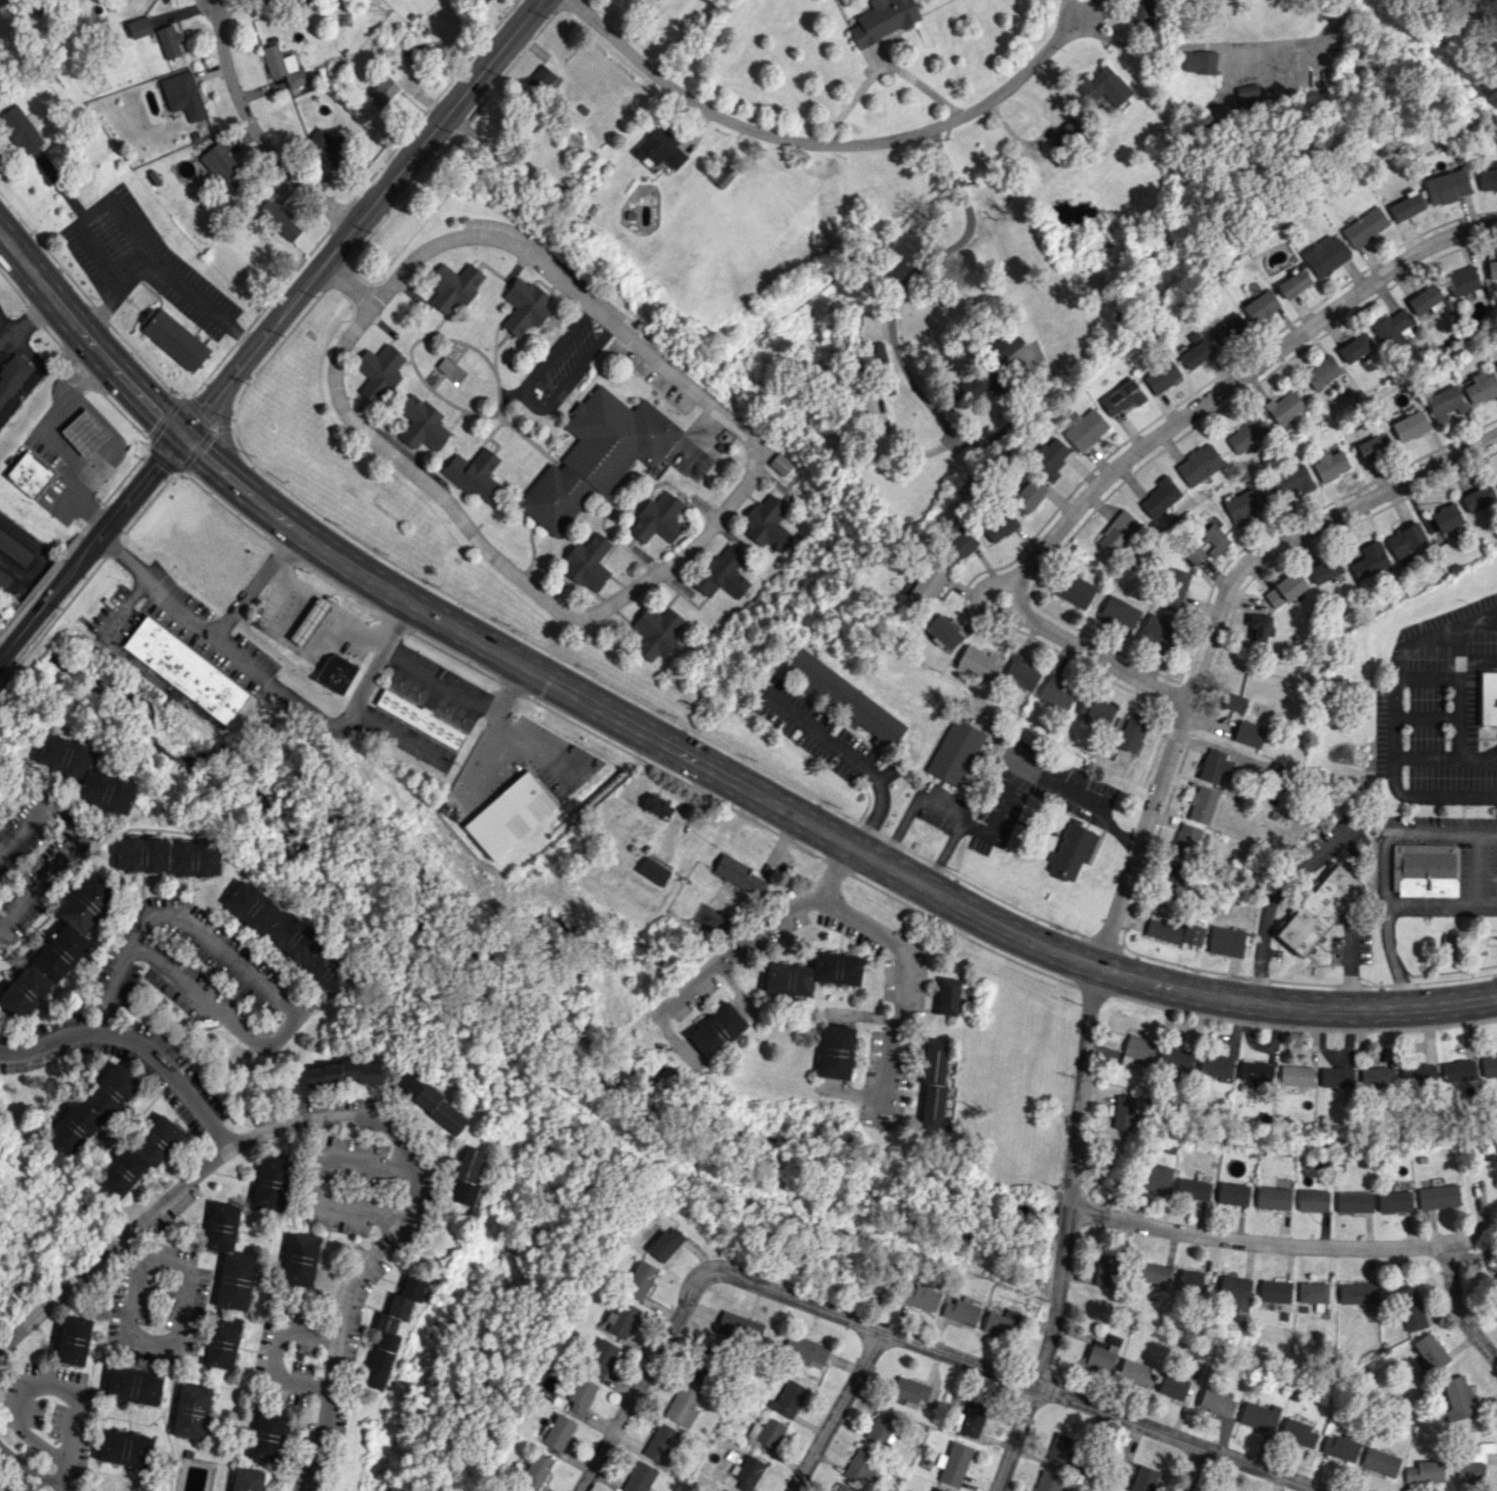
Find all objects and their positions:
building: (487, 0)
building: (302, 1)
building: (1141, 13)
building: (882, 20)
building: (138, 27)
building: (168, 41)
road: (1147, 49)
building: (412, 50)
building: (1199, 62)
building: (282, 66)
road: (880, 69)
building: (545, 82)
building: (1102, 86)
building: (384, 89)
building: (1247, 93)
building: (183, 94)
road: (261, 128)
building: (20, 129)
building: (1065, 135)
building: (326, 144)
road: (823, 145)
building: (659, 148)
road: (942, 154)
building: (221, 164)
building: (719, 172)
building: (1487, 179)
road: (956, 183)
building: (1446, 186)
road: (61, 187)
building: (1406, 207)
road: (91, 213)
road: (361, 217)
building: (277, 221)
building: (1364, 227)
building: (1325, 255)
road: (166, 268)
building: (1492, 269)
road: (350, 278)
building: (1462, 281)
building: (1293, 283)
building: (453, 287)
building: (1428, 299)
building: (524, 306)
building: (1260, 306)
building: (866, 318)
building: (1227, 328)
building: (1394, 328)
building: (172, 337)
road: (88, 343)
road: (557, 346)
building: (1002, 346)
building: (1355, 347)
building: (1194, 353)
road: (67, 360)
building: (1496, 362)
road: (580, 366)
road: (902, 367)
building: (378, 371)
building: (1322, 372)
building: (12, 376)
building: (1160, 376)
building: (981, 382)
road: (90, 383)
building: (1480, 387)
building: (1121, 398)
road: (530, 403)
building: (1445, 403)
building: (1284, 407)
road: (48, 416)
building: (421, 424)
building: (1409, 425)
building: (1085, 429)
building: (84, 432)
building: (1245, 434)
road: (1153, 442)
building: (1372, 446)
building: (596, 455)
building: (1048, 457)
building: (780, 464)
building: (1197, 464)
building: (1329, 464)
building: (473, 473)
building: (28, 474)
building: (1290, 481)
building: (1496, 481)
building: (1028, 495)
building: (1158, 498)
building: (1478, 498)
building: (1244, 505)
building: (1446, 517)
building: (657, 518)
building: (767, 524)
building: (998, 526)
building: (1117, 532)
road: (699, 534)
building: (1213, 539)
building: (1405, 542)
building: (958, 545)
road: (93, 546)
building: (14, 549)
building: (1194, 554)
building: (1369, 560)
building: (587, 562)
building: (1325, 570)
building: (722, 572)
building: (4, 580)
building: (925, 583)
building: (1176, 585)
building: (1284, 589)
building: (1074, 590)
building: (1118, 614)
road: (1476, 618)
building: (309, 621)
building: (1260, 626)
road: (206, 628)
building: (1157, 630)
building: (943, 631)
building: (656, 632)
road: (318, 650)
road: (1396, 657)
building: (978, 662)
road: (1477, 662)
road: (1457, 663)
building: (185, 670)
building: (335, 673)
building: (1019, 673)
building: (1056, 692)
road: (280, 693)
road: (462, 696)
building: (845, 697)
building: (1488, 698)
building: (1235, 702)
building: (1096, 709)
road: (367, 715)
building: (420, 719)
building: (1131, 732)
building: (1249, 733)
road: (533, 746)
building: (955, 752)
road: (1405, 756)
road: (851, 757)
road: (478, 758)
building: (1213, 768)
building: (84, 772)
road: (1428, 797)
road: (999, 802)
building: (1202, 804)
building: (656, 806)
road: (40, 810)
building: (510, 814)
road: (803, 821)
building: (1187, 843)
road: (941, 852)
building: (1071, 852)
building: (167, 857)
road: (1382, 865)
building: (652, 870)
building: (1423, 870)
building: (737, 874)
building: (1172, 881)
road: (42, 883)
road: (1123, 883)
road: (1272, 895)
road: (1426, 901)
road: (1483, 901)
building: (1318, 909)
building: (1174, 932)
building: (289, 938)
building: (1226, 941)
building: (58, 948)
road: (736, 949)
road: (896, 963)
road: (1348, 966)
building: (812, 974)
road: (260, 983)
building: (947, 996)
building: (717, 1030)
road: (136, 1043)
building: (1138, 1048)
building: (835, 1051)
building: (1175, 1058)
building: (1215, 1065)
building: (1488, 1066)
building: (1453, 1070)
building: (1255, 1071)
building: (344, 1072)
building: (1417, 1074)
building: (1295, 1075)
building: (1376, 1076)
building: (1336, 1077)
building: (933, 1084)
building: (430, 1102)
building: (91, 1109)
building: (1122, 1112)
building: (139, 1156)
road: (324, 1176)
building: (466, 1176)
building: (1155, 1178)
building: (270, 1183)
building: (1192, 1189)
road: (174, 1191)
building: (1232, 1193)
building: (1437, 1196)
building: (1273, 1197)
building: (1312, 1200)
building: (1394, 1201)
building: (1353, 1202)
building: (665, 1243)
road: (1268, 1243)
building: (228, 1257)
building: (299, 1258)
building: (1104, 1270)
building: (1152, 1272)
building: (639, 1279)
building: (1495, 1280)
building: (1192, 1281)
building: (1274, 1291)
building: (1236, 1292)
building: (1312, 1292)
building: (1357, 1292)
road: (347, 1297)
building: (405, 1297)
building: (920, 1297)
building: (1409, 1308)
road: (1458, 1310)
building: (959, 1311)
building: (621, 1319)
building: (995, 1325)
building: (739, 1327)
building: (72, 1340)
building: (221, 1344)
road: (161, 1347)
building: (804, 1351)
building: (1430, 1351)
road: (275, 1353)
building: (380, 1353)
building: (600, 1357)
building: (1100, 1358)
building: (694, 1370)
building: (1134, 1373)
road: (1013, 1377)
road: (640, 1380)
building: (133, 1385)
building: (1172, 1386)
road: (28, 1389)
building: (910, 1389)
building: (580, 1394)
building: (1457, 1398)
building: (787, 1399)
building: (1215, 1401)
building: (683, 1406)
building: (190, 1411)
road: (834, 1411)
building: (1258, 1416)
building: (970, 1419)
building: (882, 1427)
building: (558, 1432)
building: (766, 1432)
building: (1298, 1432)
building: (266, 1436)
building: (660, 1443)
building: (1339, 1447)
building: (124, 1448)
building: (1060, 1448)
building: (1379, 1462)
building: (953, 1463)
building: (1473, 1465)
building: (861, 1466)
road: (29, 1470)
building: (536, 1470)
road: (1196, 1470)
building: (1423, 1472)
building: (749, 1474)
building: (1138, 1476)
building: (639, 1477)
building: (246, 1479)
building: (1047, 1481)
building: (841, 1487)
building: (937, 1489)
building: (161, 1490)
building: (513, 1490)
building: (725, 1490)

